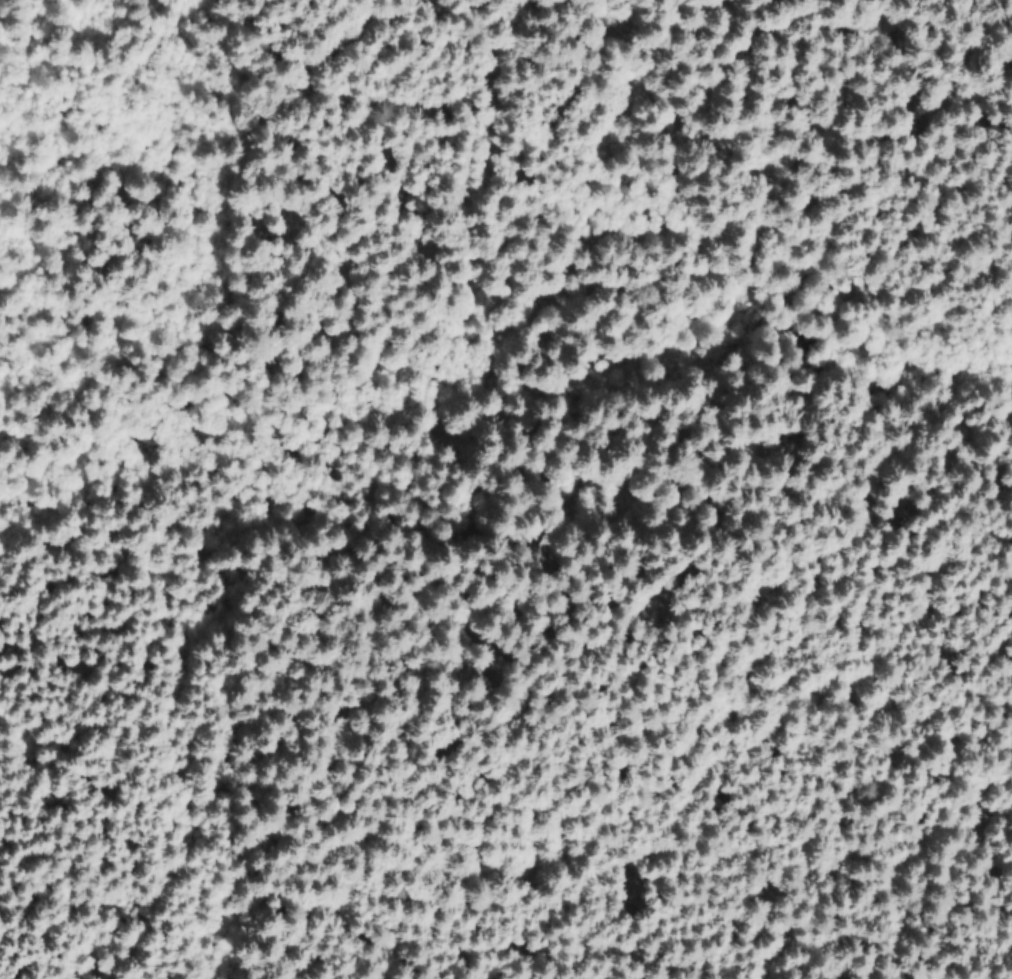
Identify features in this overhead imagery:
road: (728, 602)

